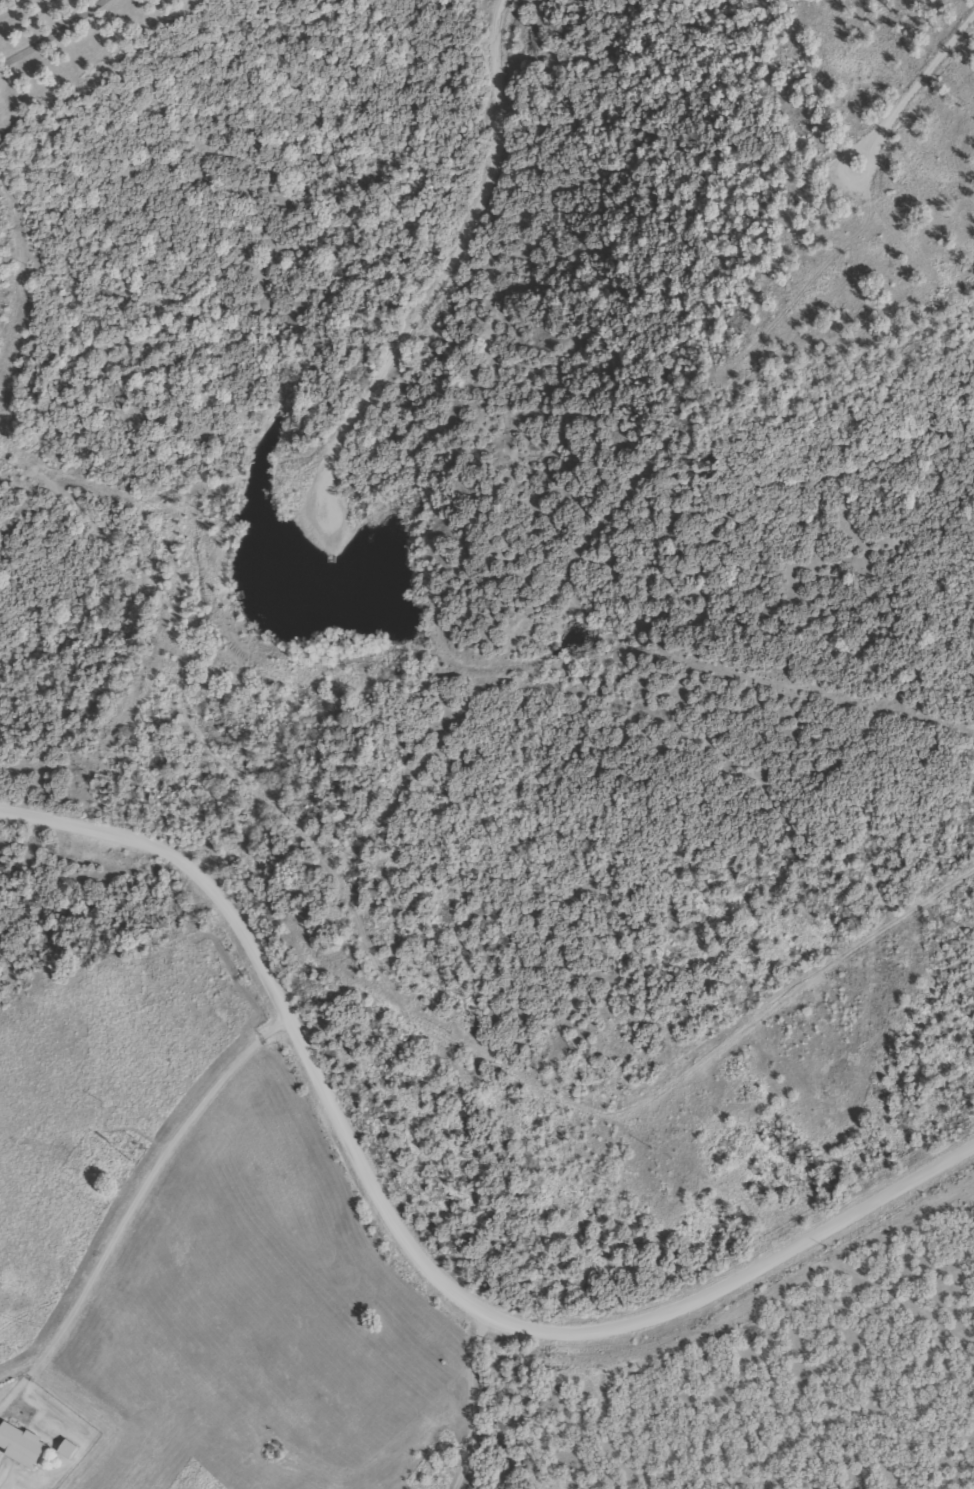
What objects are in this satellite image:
road: (47, 30)
road: (911, 92)
road: (441, 284)
road: (410, 1244)
building: (19, 1446)

